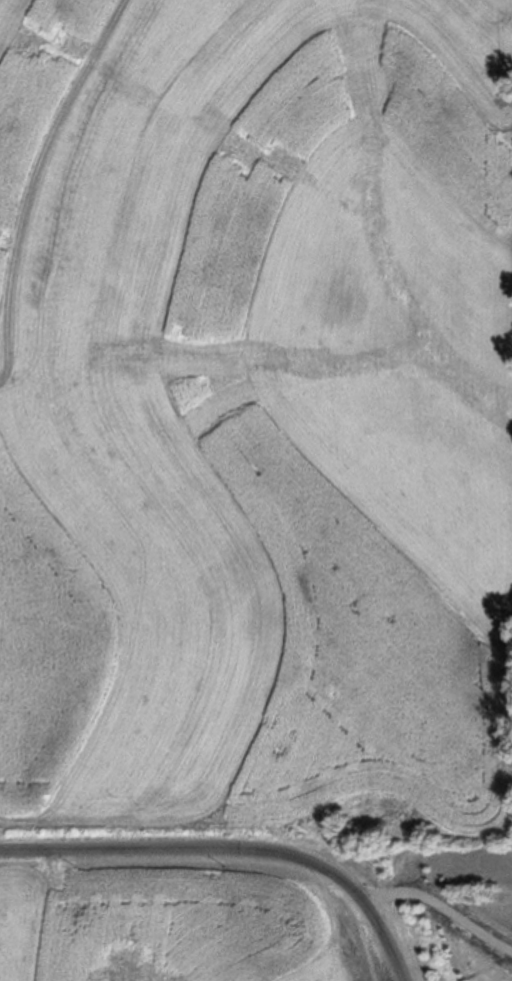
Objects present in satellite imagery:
road: (234, 849)

